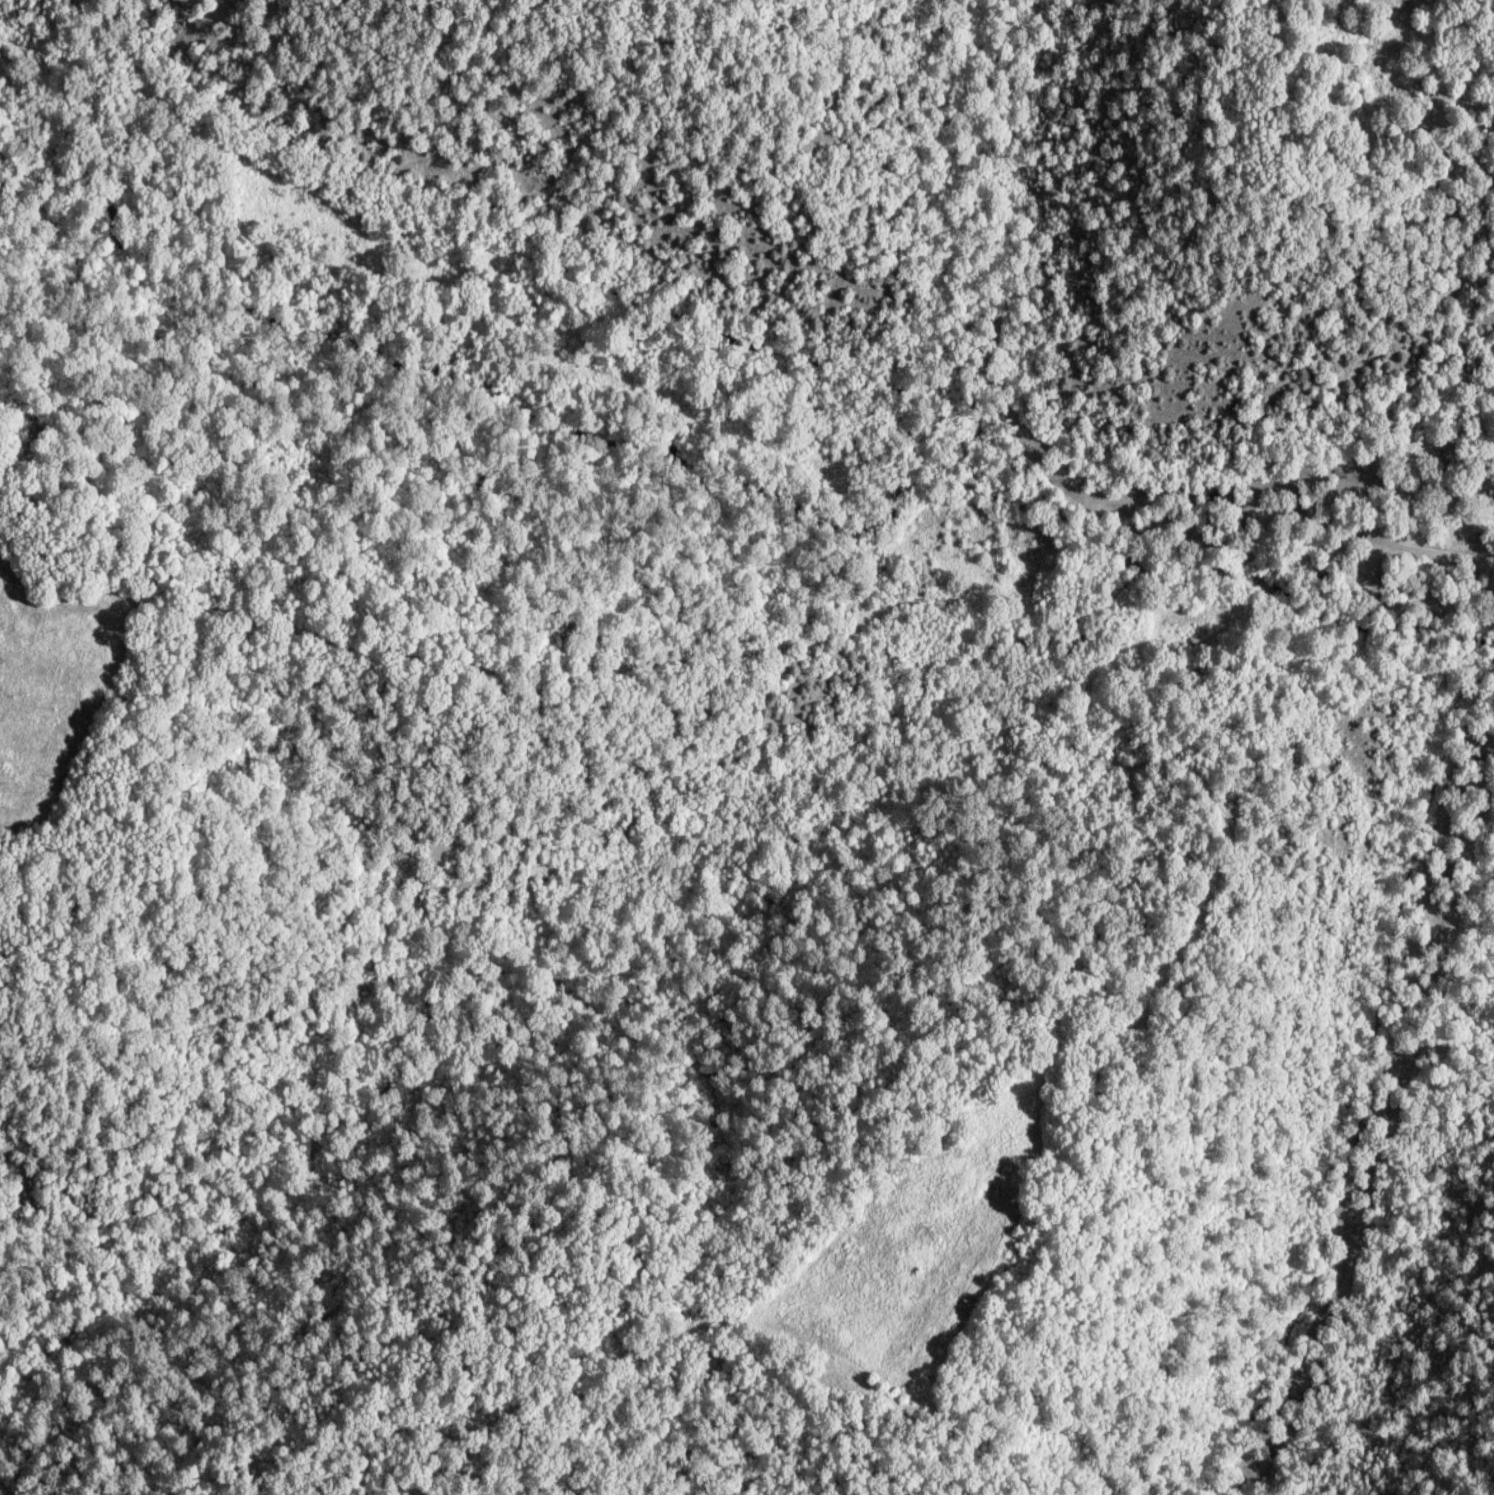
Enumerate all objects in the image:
road: (979, 319)
road: (1205, 506)
road: (1399, 542)

